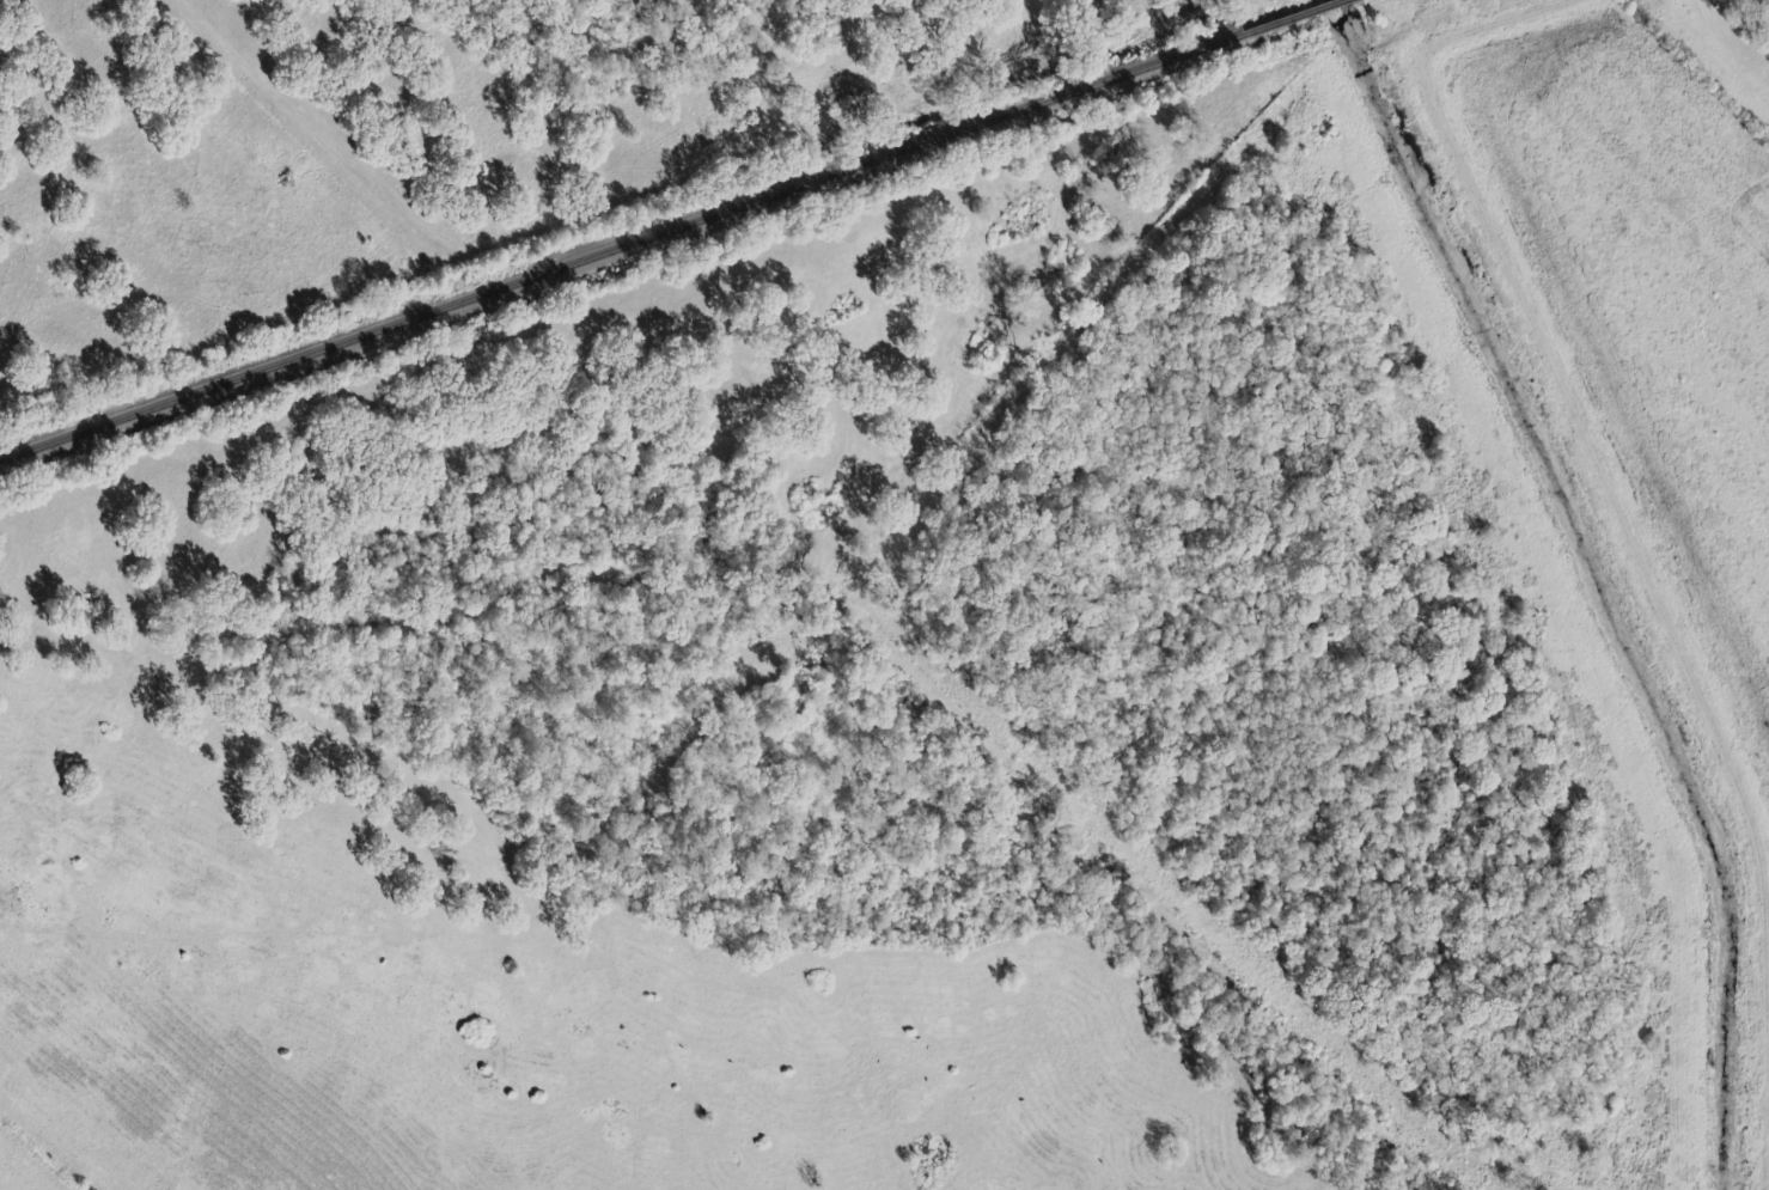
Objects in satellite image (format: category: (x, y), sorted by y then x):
railway: (1294, 18)
road: (587, 216)
railway: (620, 248)

